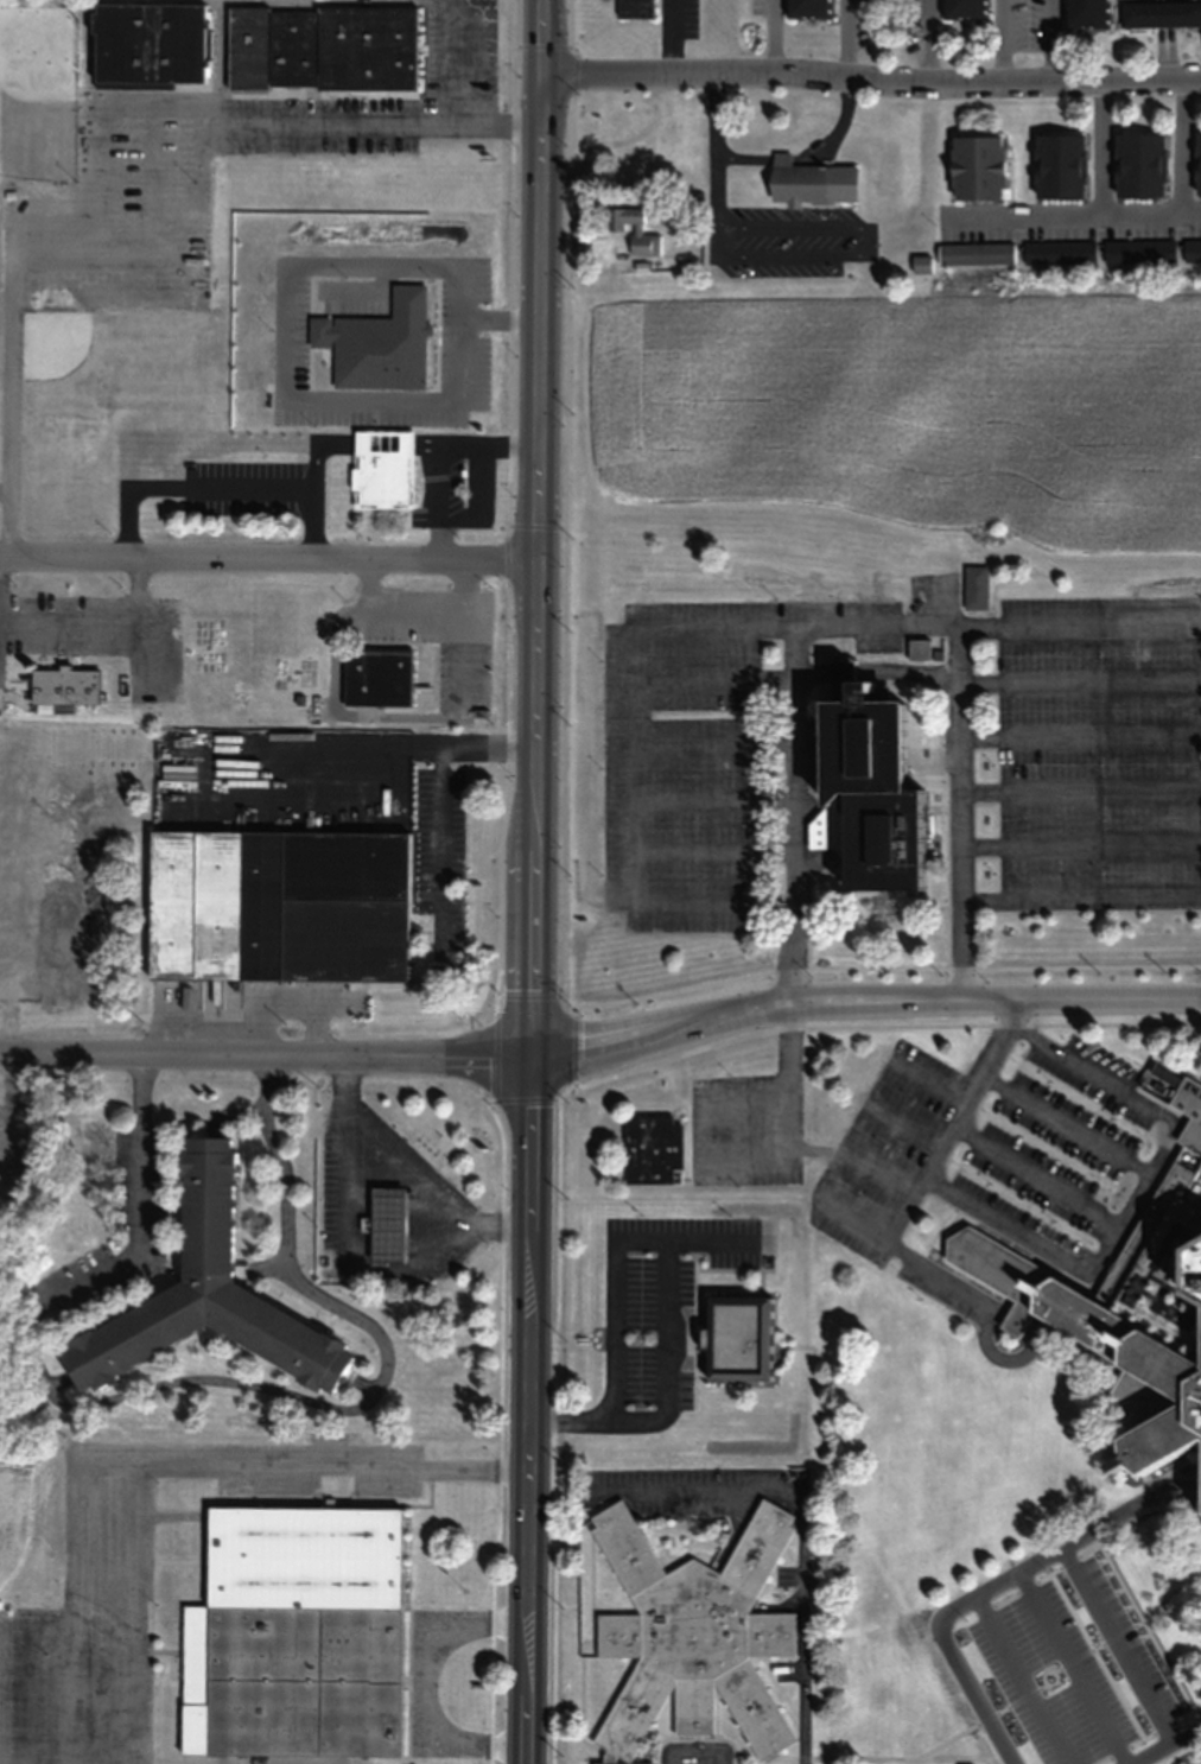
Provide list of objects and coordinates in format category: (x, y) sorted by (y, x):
building: (633, 8)
building: (807, 8)
building: (962, 9)
building: (1086, 13)
building: (1159, 13)
road: (534, 42)
road: (846, 42)
road: (929, 42)
road: (1002, 42)
road: (1054, 42)
building: (148, 44)
building: (322, 47)
road: (458, 63)
road: (866, 83)
road: (233, 120)
building: (1197, 163)
building: (1139, 164)
building: (1060, 165)
building: (976, 166)
building: (799, 180)
building: (634, 230)
building: (1192, 250)
building: (1059, 252)
building: (1138, 252)
building: (976, 253)
road: (534, 321)
road: (13, 373)
building: (382, 469)
road: (267, 554)
building: (974, 586)
road: (138, 588)
road: (68, 620)
road: (1079, 624)
road: (872, 626)
parking lot: (103, 632)
road: (157, 646)
building: (376, 678)
road: (1079, 680)
building: (63, 685)
road: (1080, 736)
building: (866, 785)
road: (1080, 789)
road: (1080, 845)
road: (501, 882)
road: (1080, 899)
building: (278, 906)
road: (992, 997)
road: (841, 1024)
road: (395, 1055)
building: (650, 1149)
road: (534, 1160)
road: (405, 1179)
building: (387, 1225)
building: (205, 1295)
building: (1127, 1302)
building: (735, 1338)
road: (210, 1381)
road: (1132, 1503)
road: (1046, 1553)
building: (296, 1635)
building: (692, 1635)
parking lot: (1049, 1656)
road: (1068, 1667)
road: (1008, 1682)
road: (1188, 1730)

